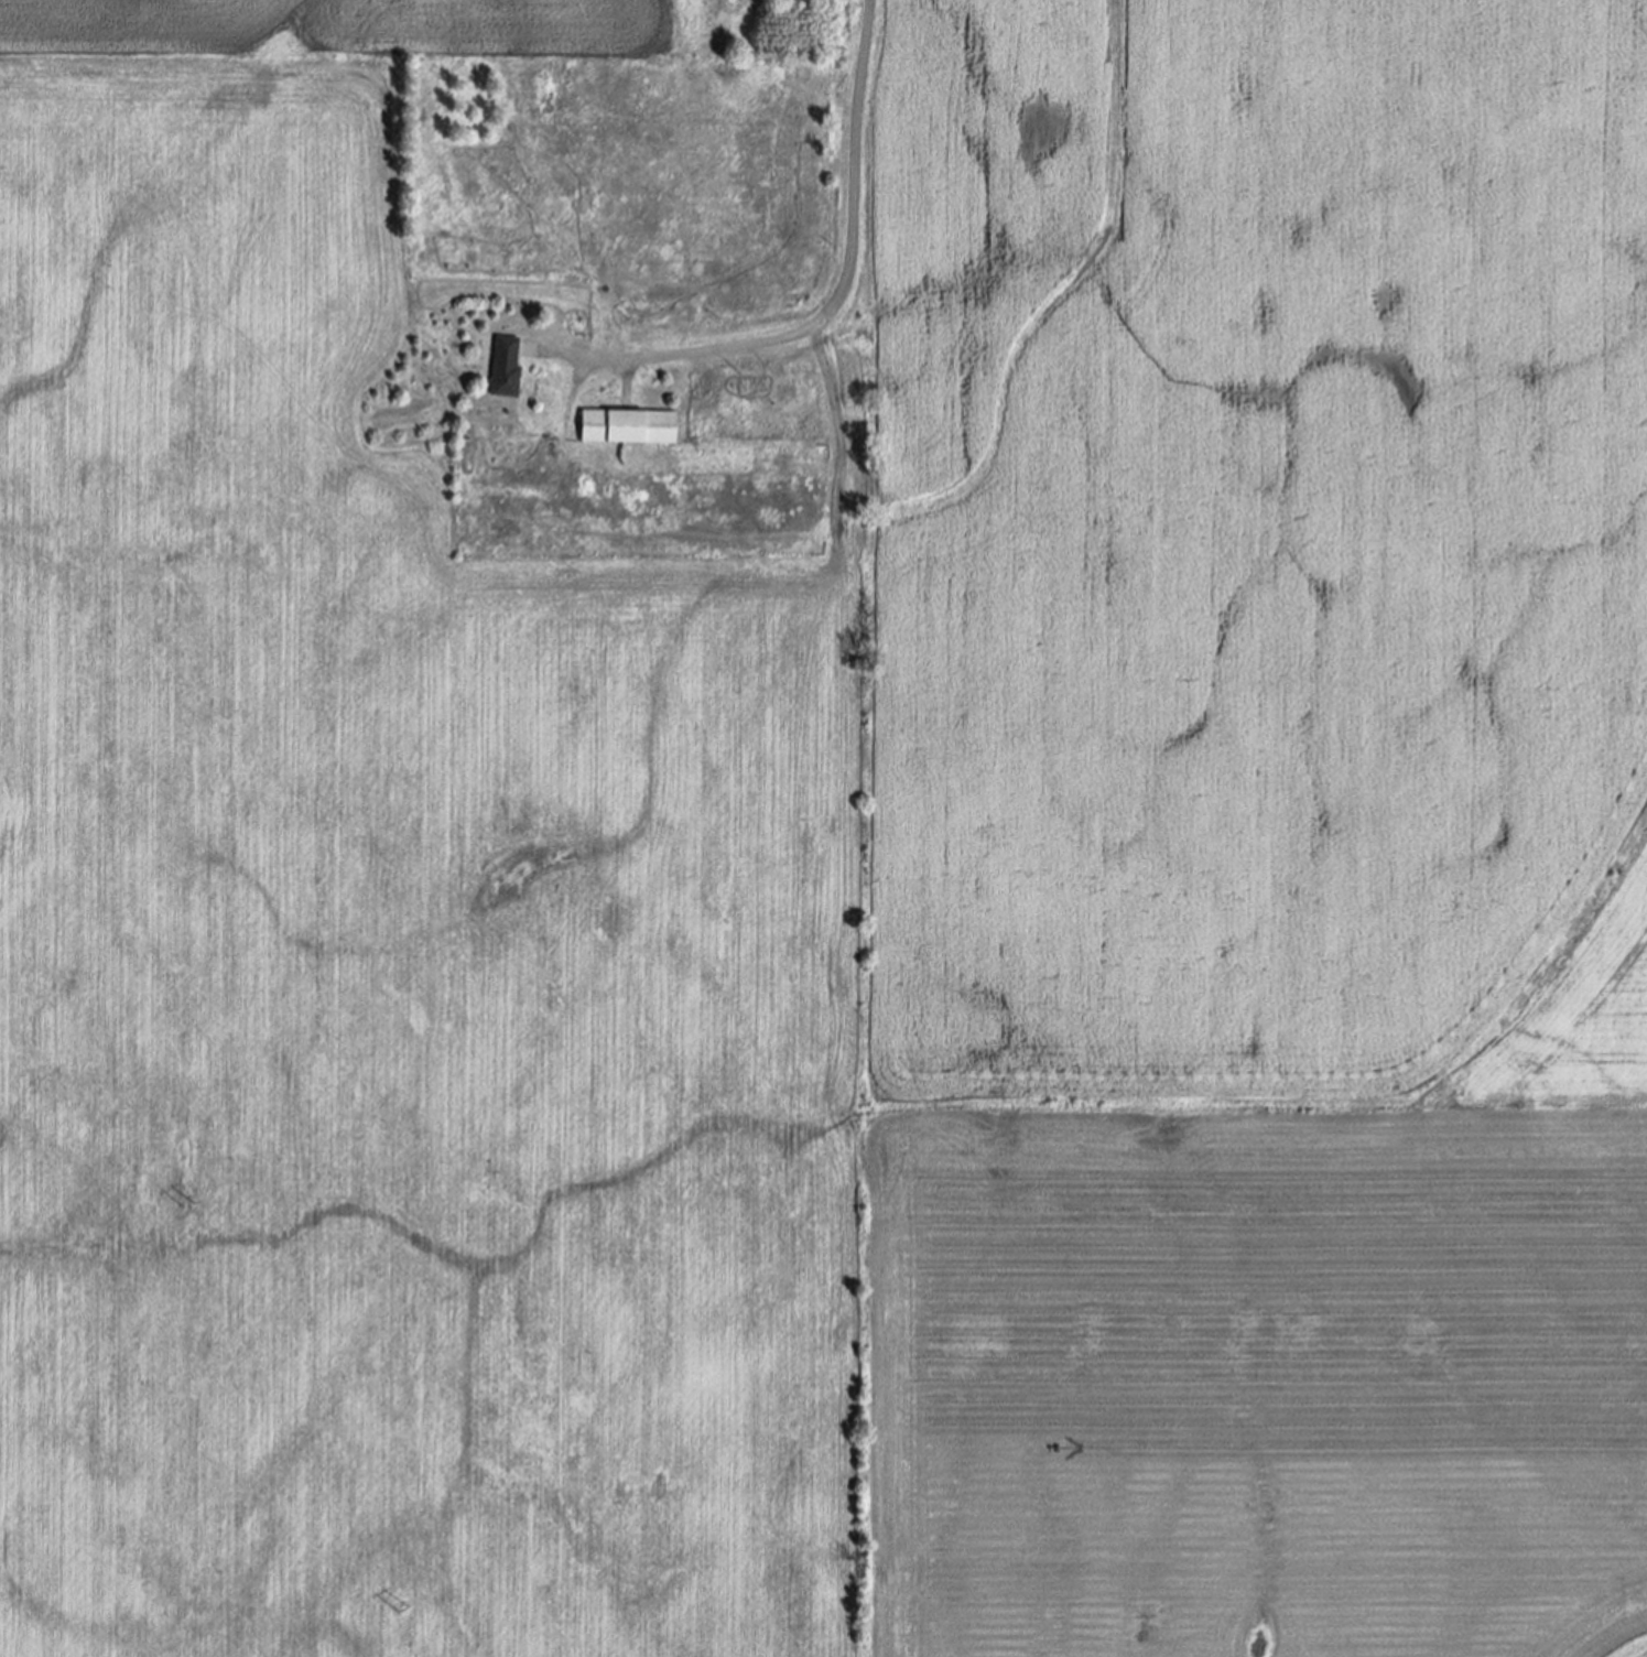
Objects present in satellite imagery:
road: (868, 0)
road: (846, 283)
building: (508, 367)
building: (630, 427)
power tower: (188, 1206)
power tower: (407, 1611)

